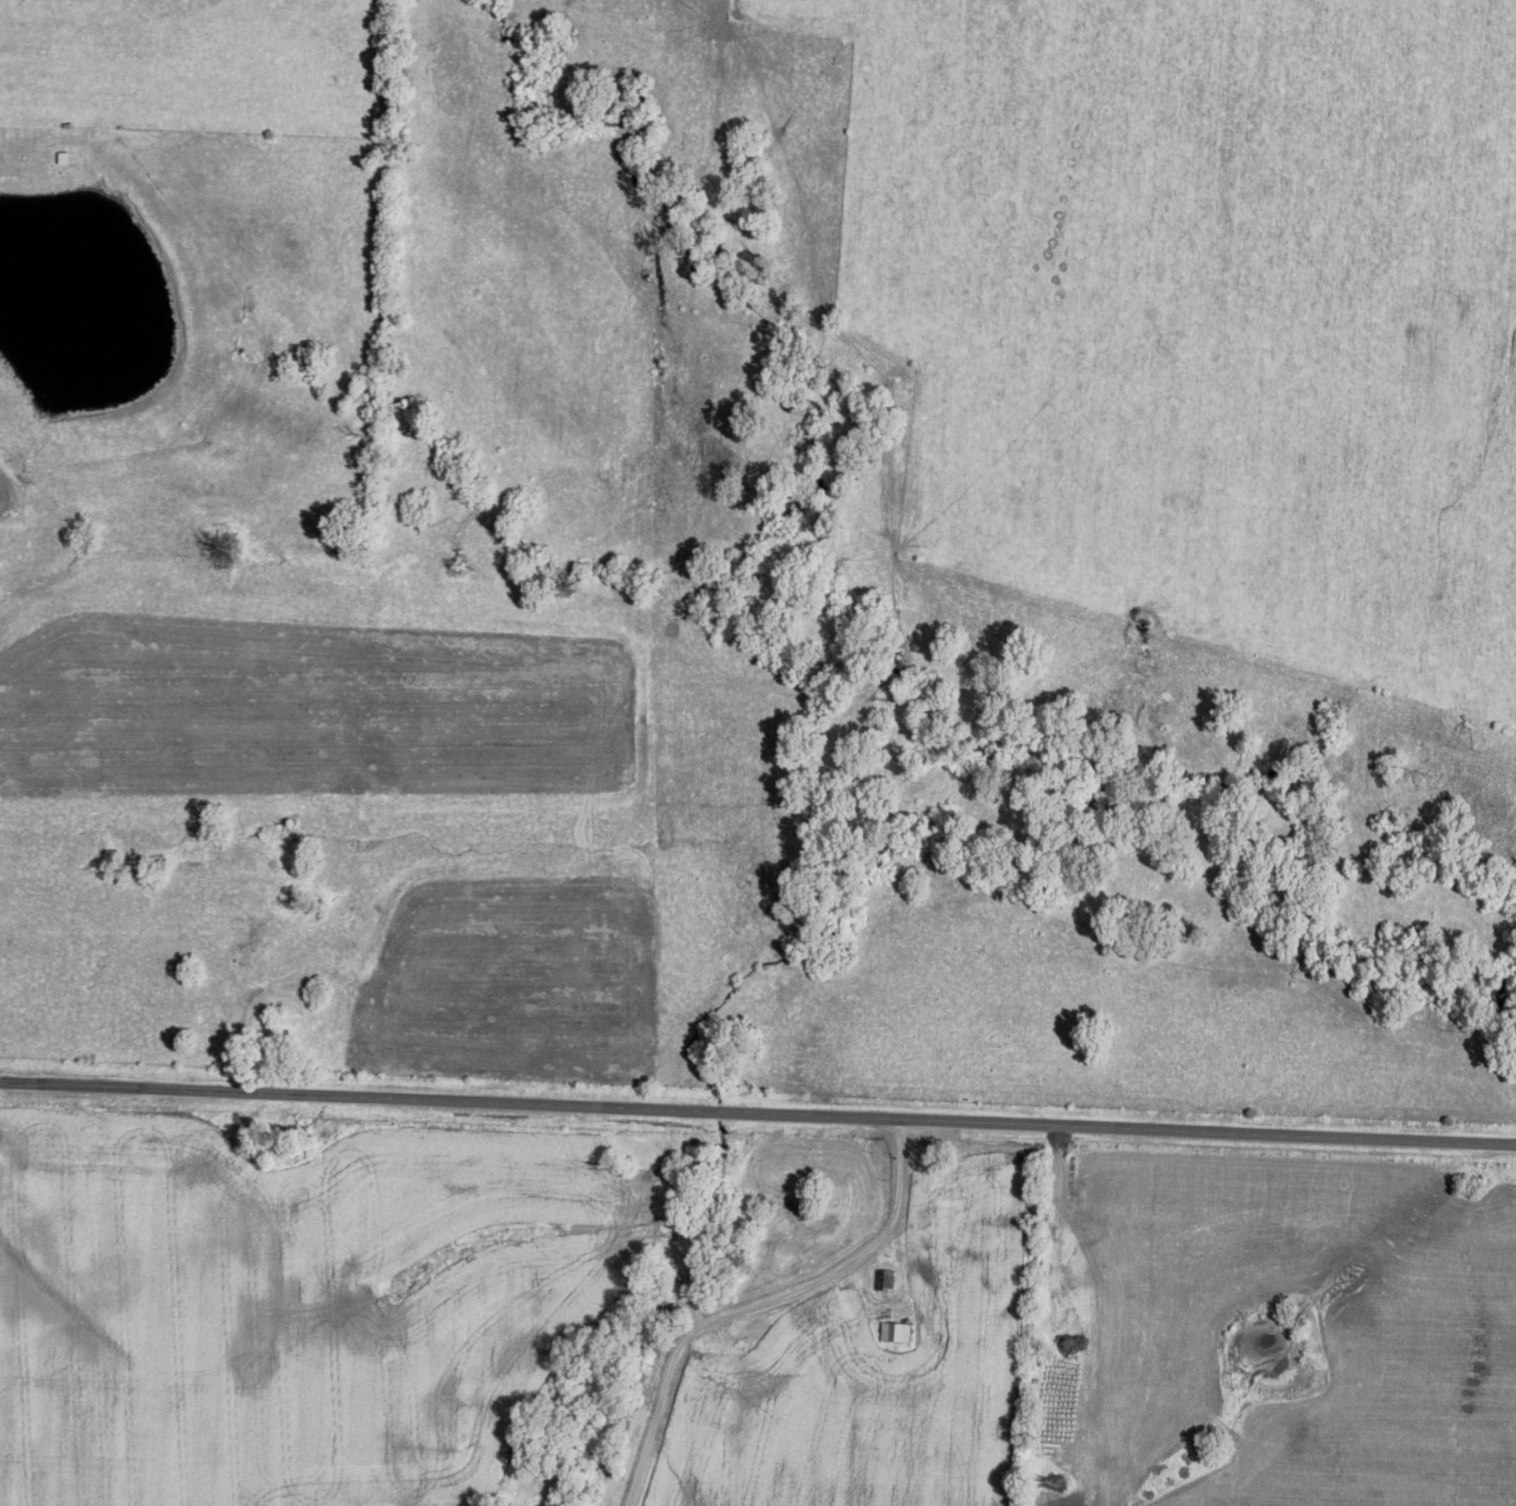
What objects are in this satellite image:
road: (821, 294)
road: (757, 1113)
road: (760, 1305)
road: (860, 1323)
road: (496, 1331)

